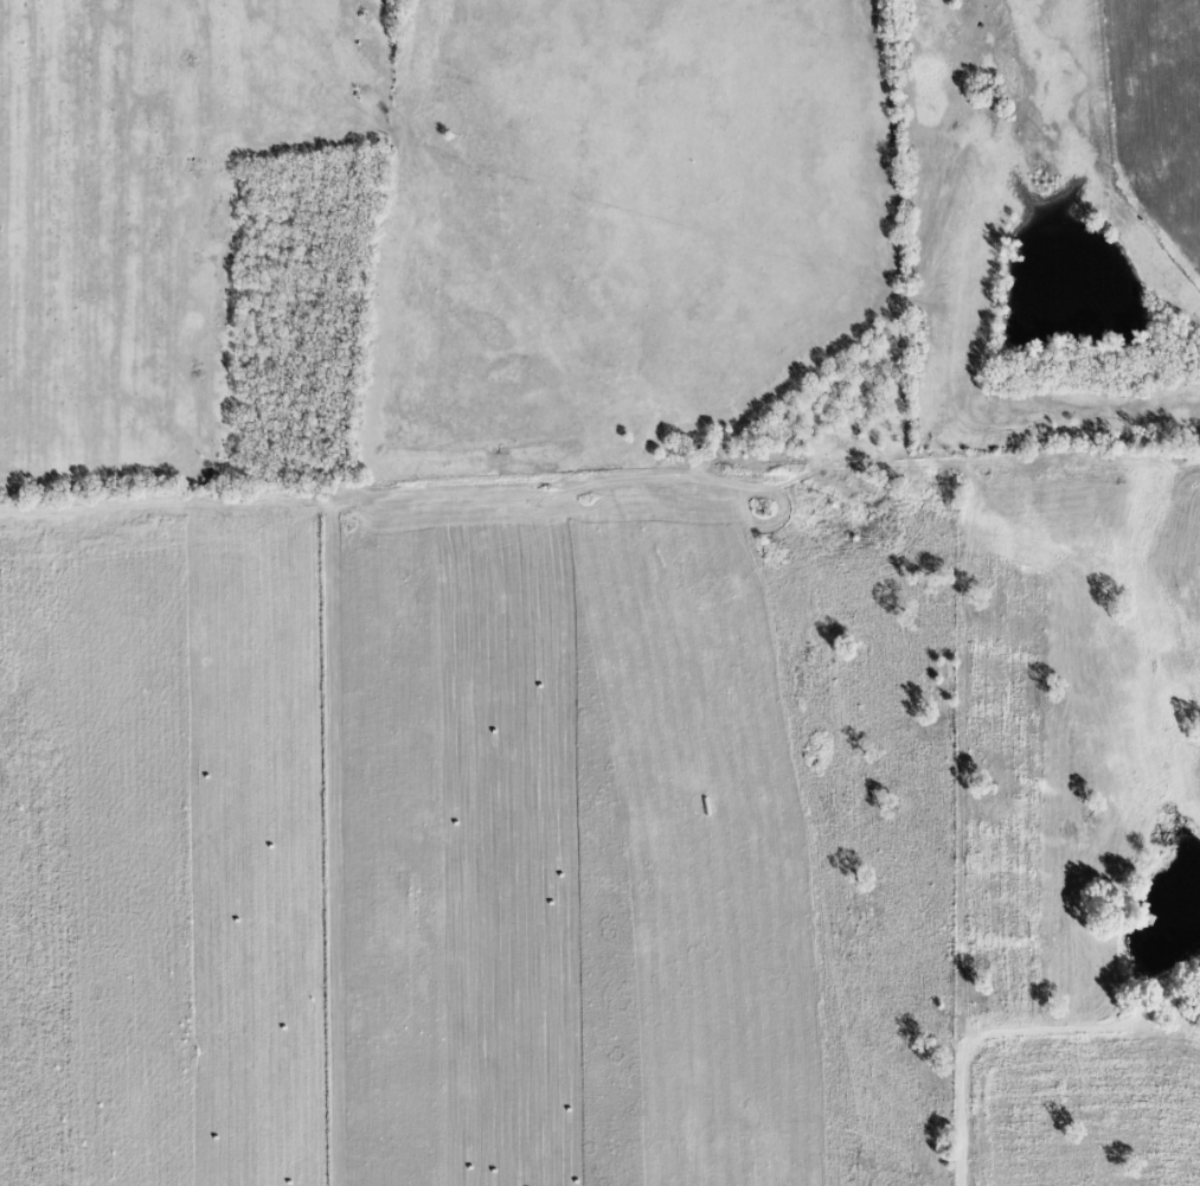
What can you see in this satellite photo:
road: (1009, 1038)

